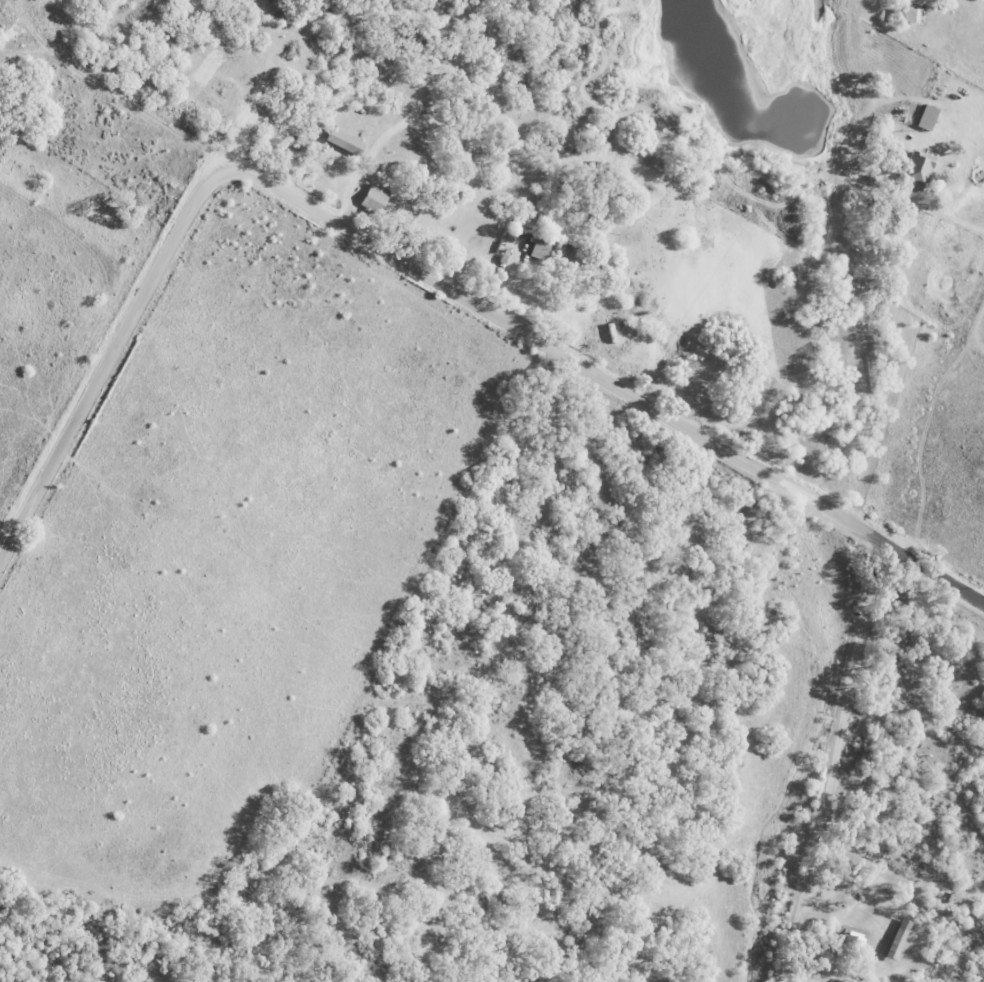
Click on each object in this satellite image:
building: (908, 15)
building: (925, 117)
road: (974, 125)
building: (915, 171)
building: (374, 193)
building: (539, 249)
road: (109, 355)
road: (609, 381)
road: (835, 762)
building: (901, 938)

